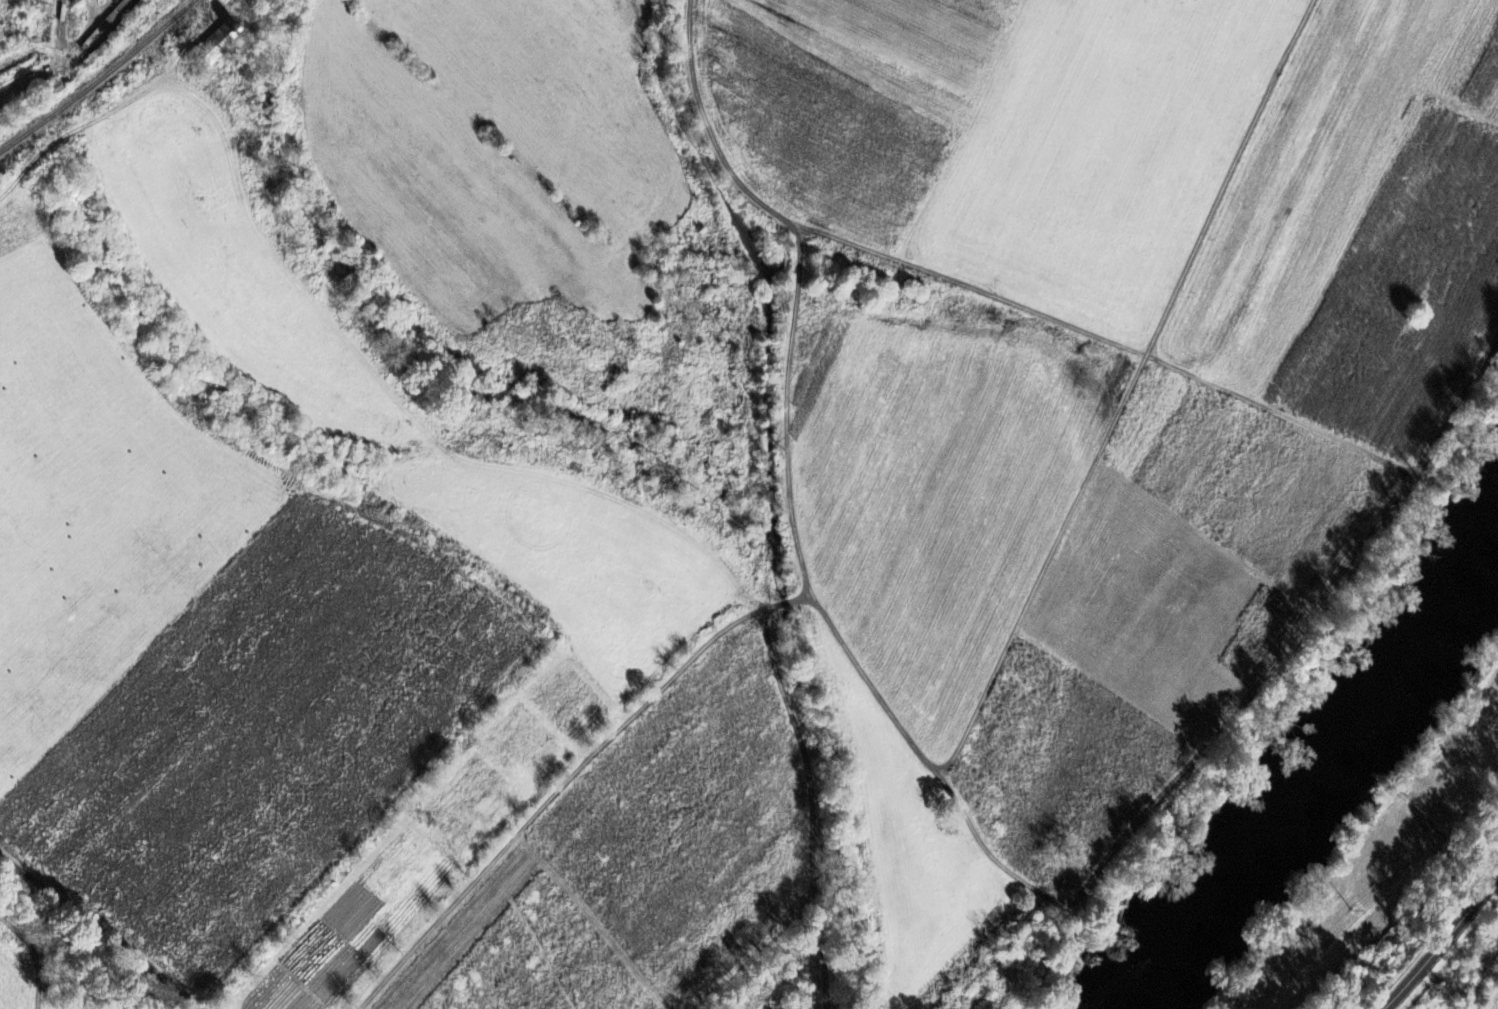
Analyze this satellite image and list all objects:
building: (100, 0)
railway: (100, 77)
river: (1324, 771)
road: (1443, 942)

